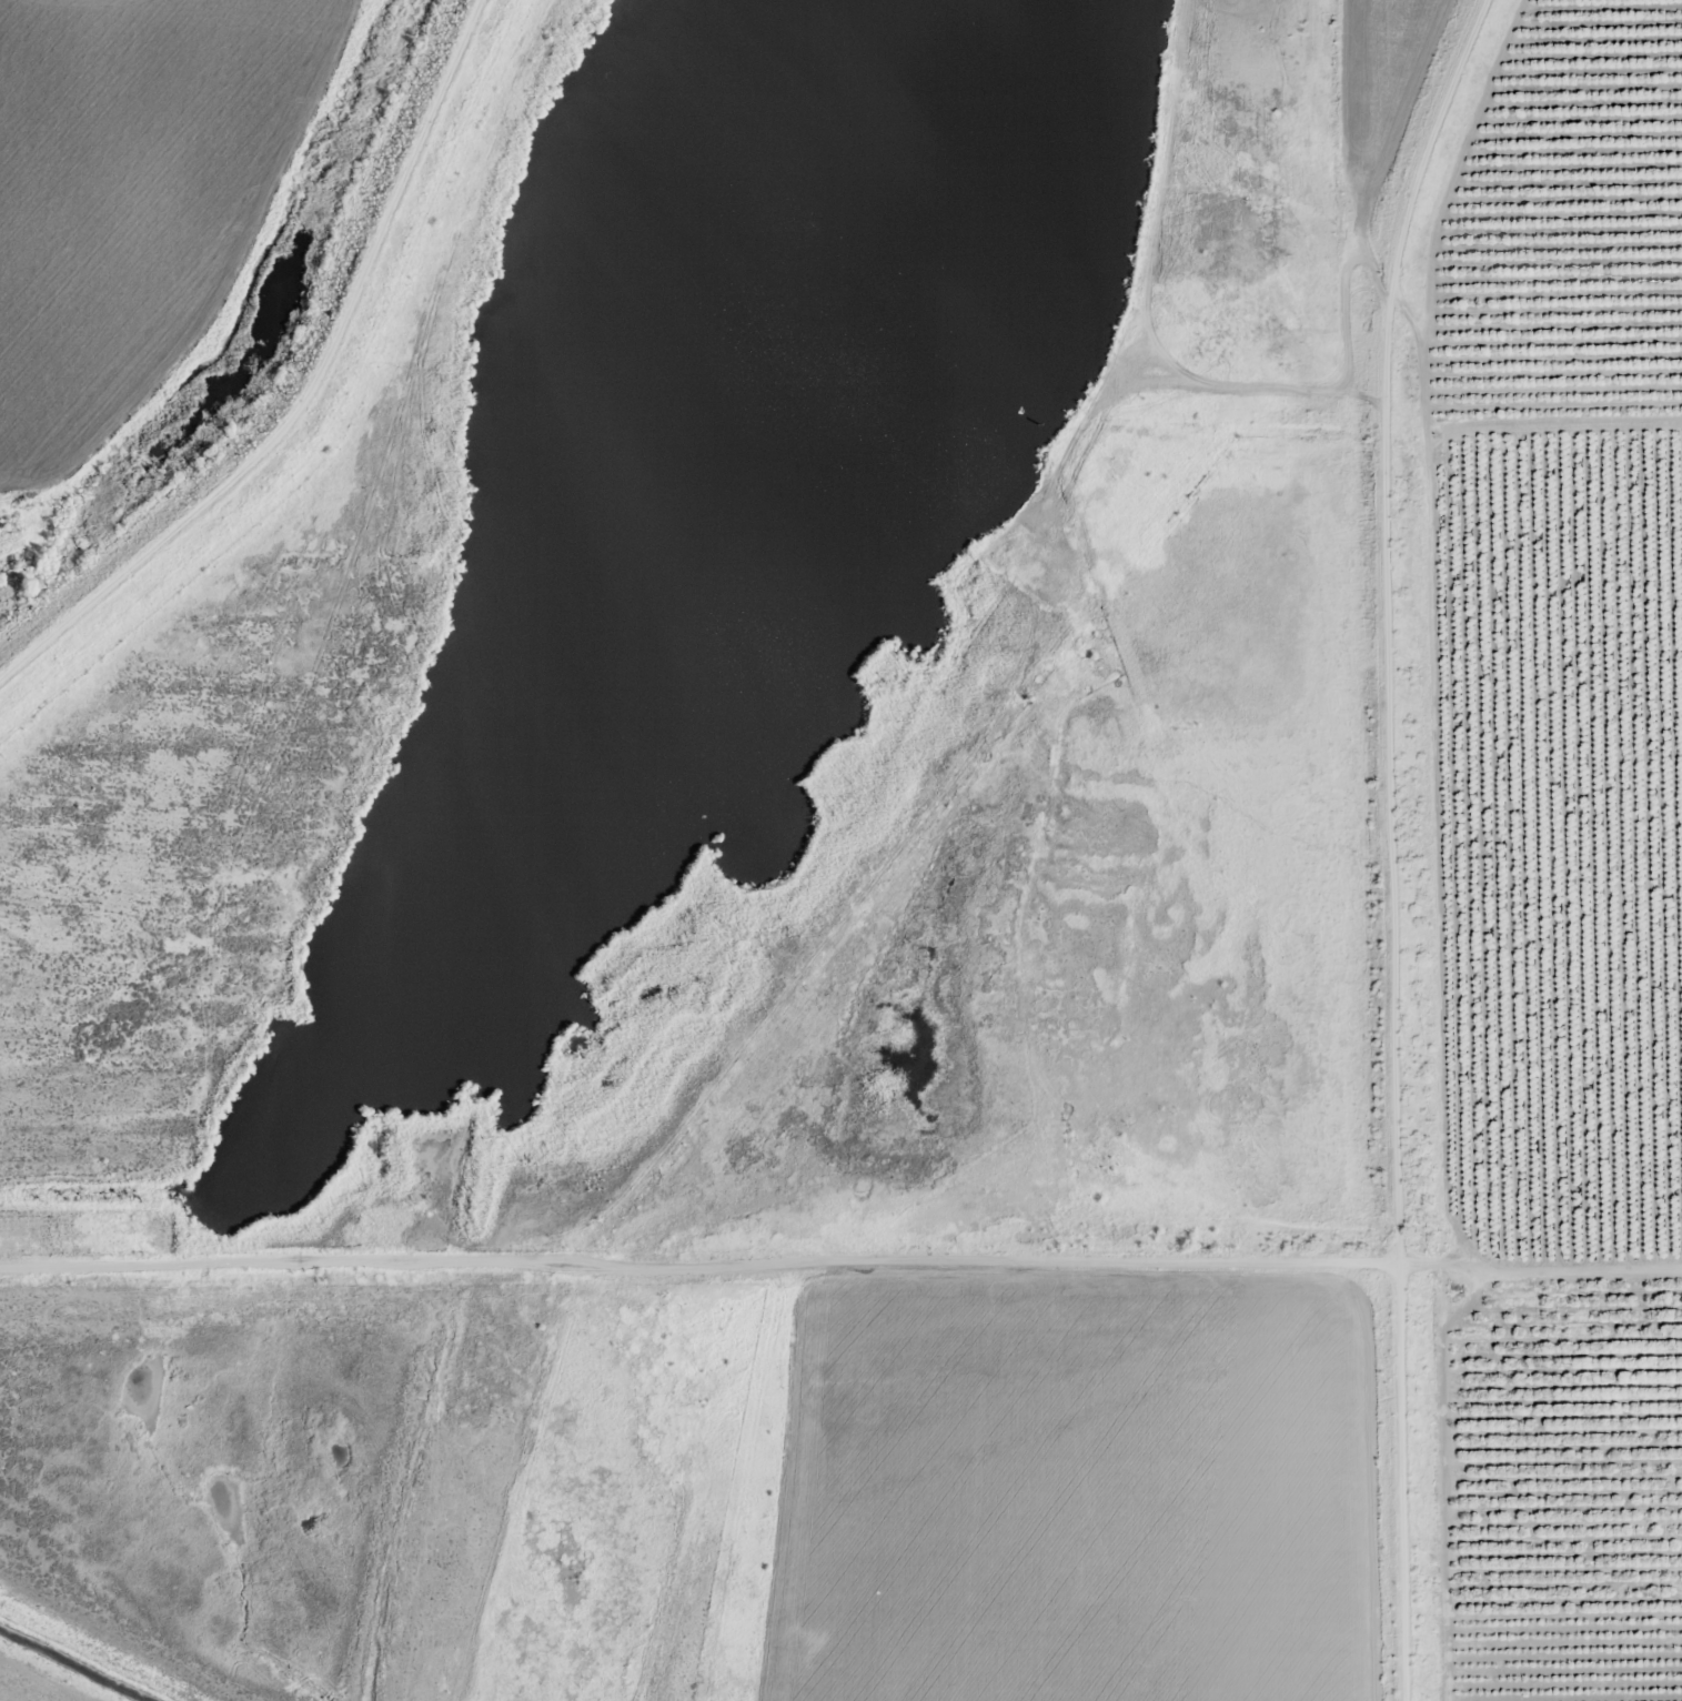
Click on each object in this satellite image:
building: (0, 269)
building: (0, 293)
building: (3, 310)
road: (299, 390)
road: (1412, 849)
road: (840, 1244)

